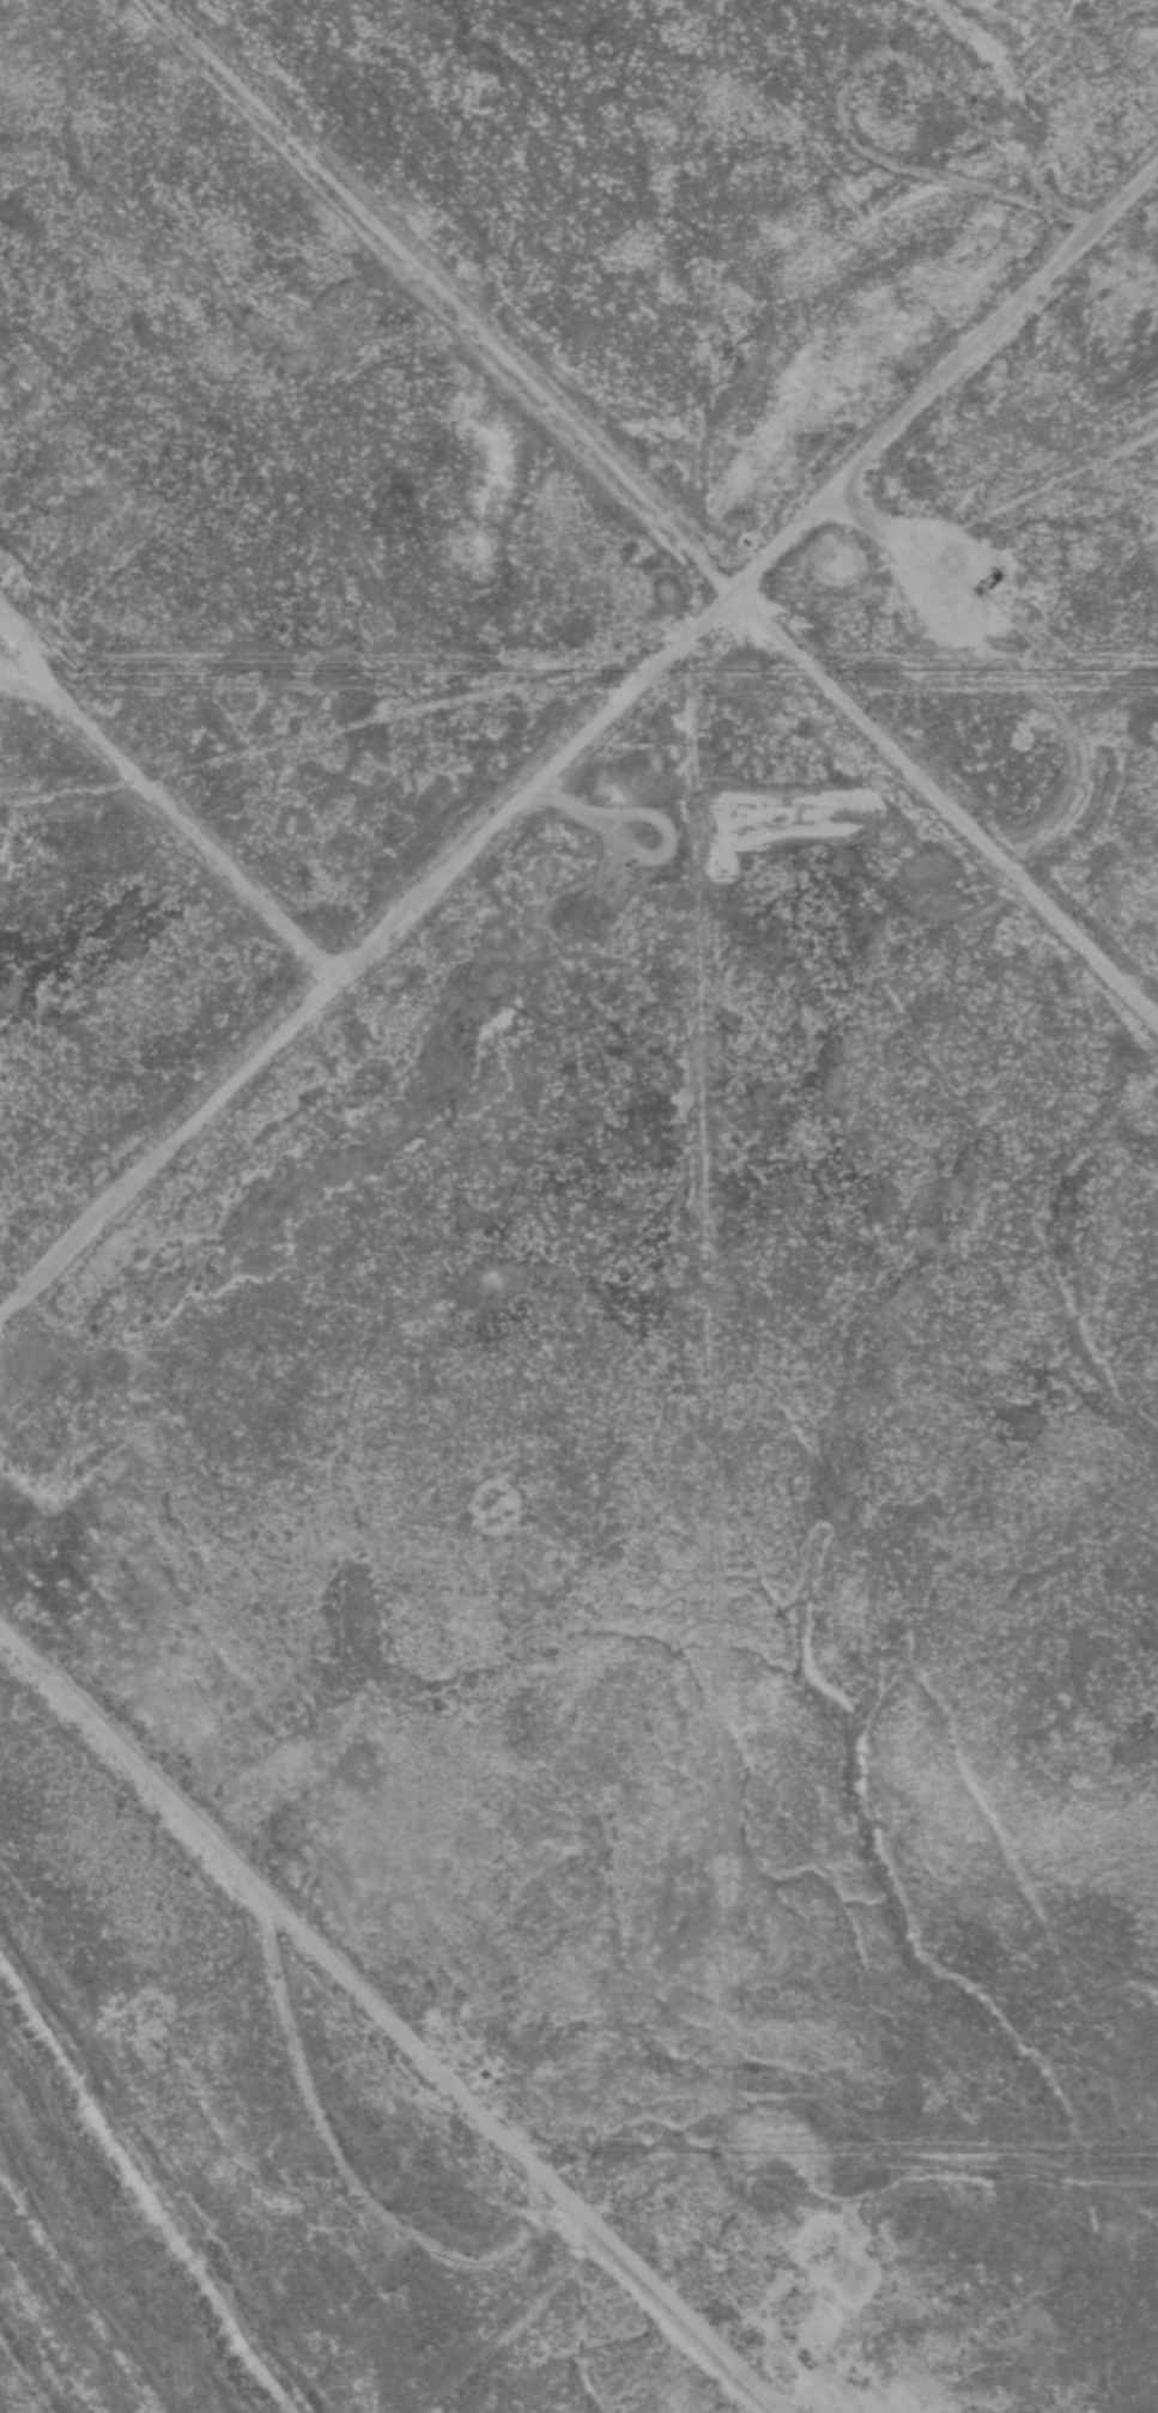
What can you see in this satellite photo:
road: (653, 515)
road: (577, 739)
road: (177, 807)
road: (419, 2013)
road: (175, 2141)

